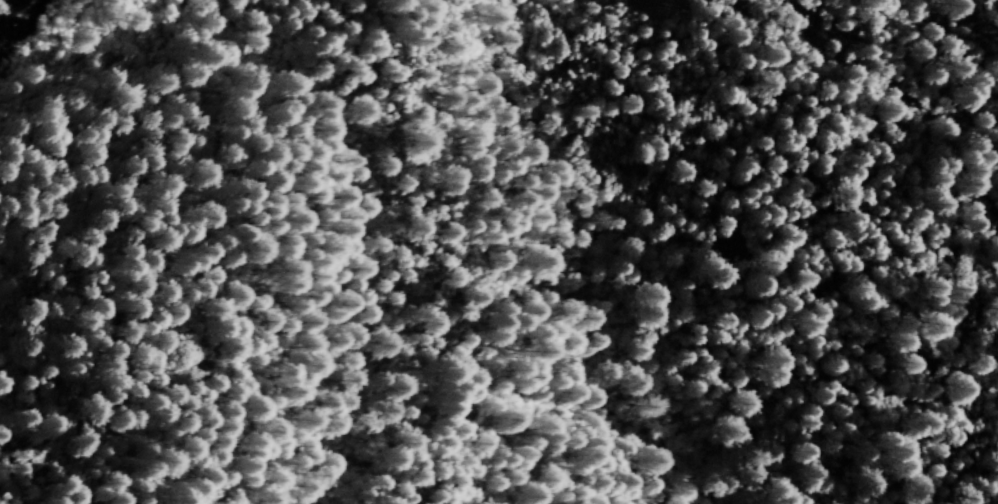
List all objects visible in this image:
river: (6, 6)
park: (632, 290)

